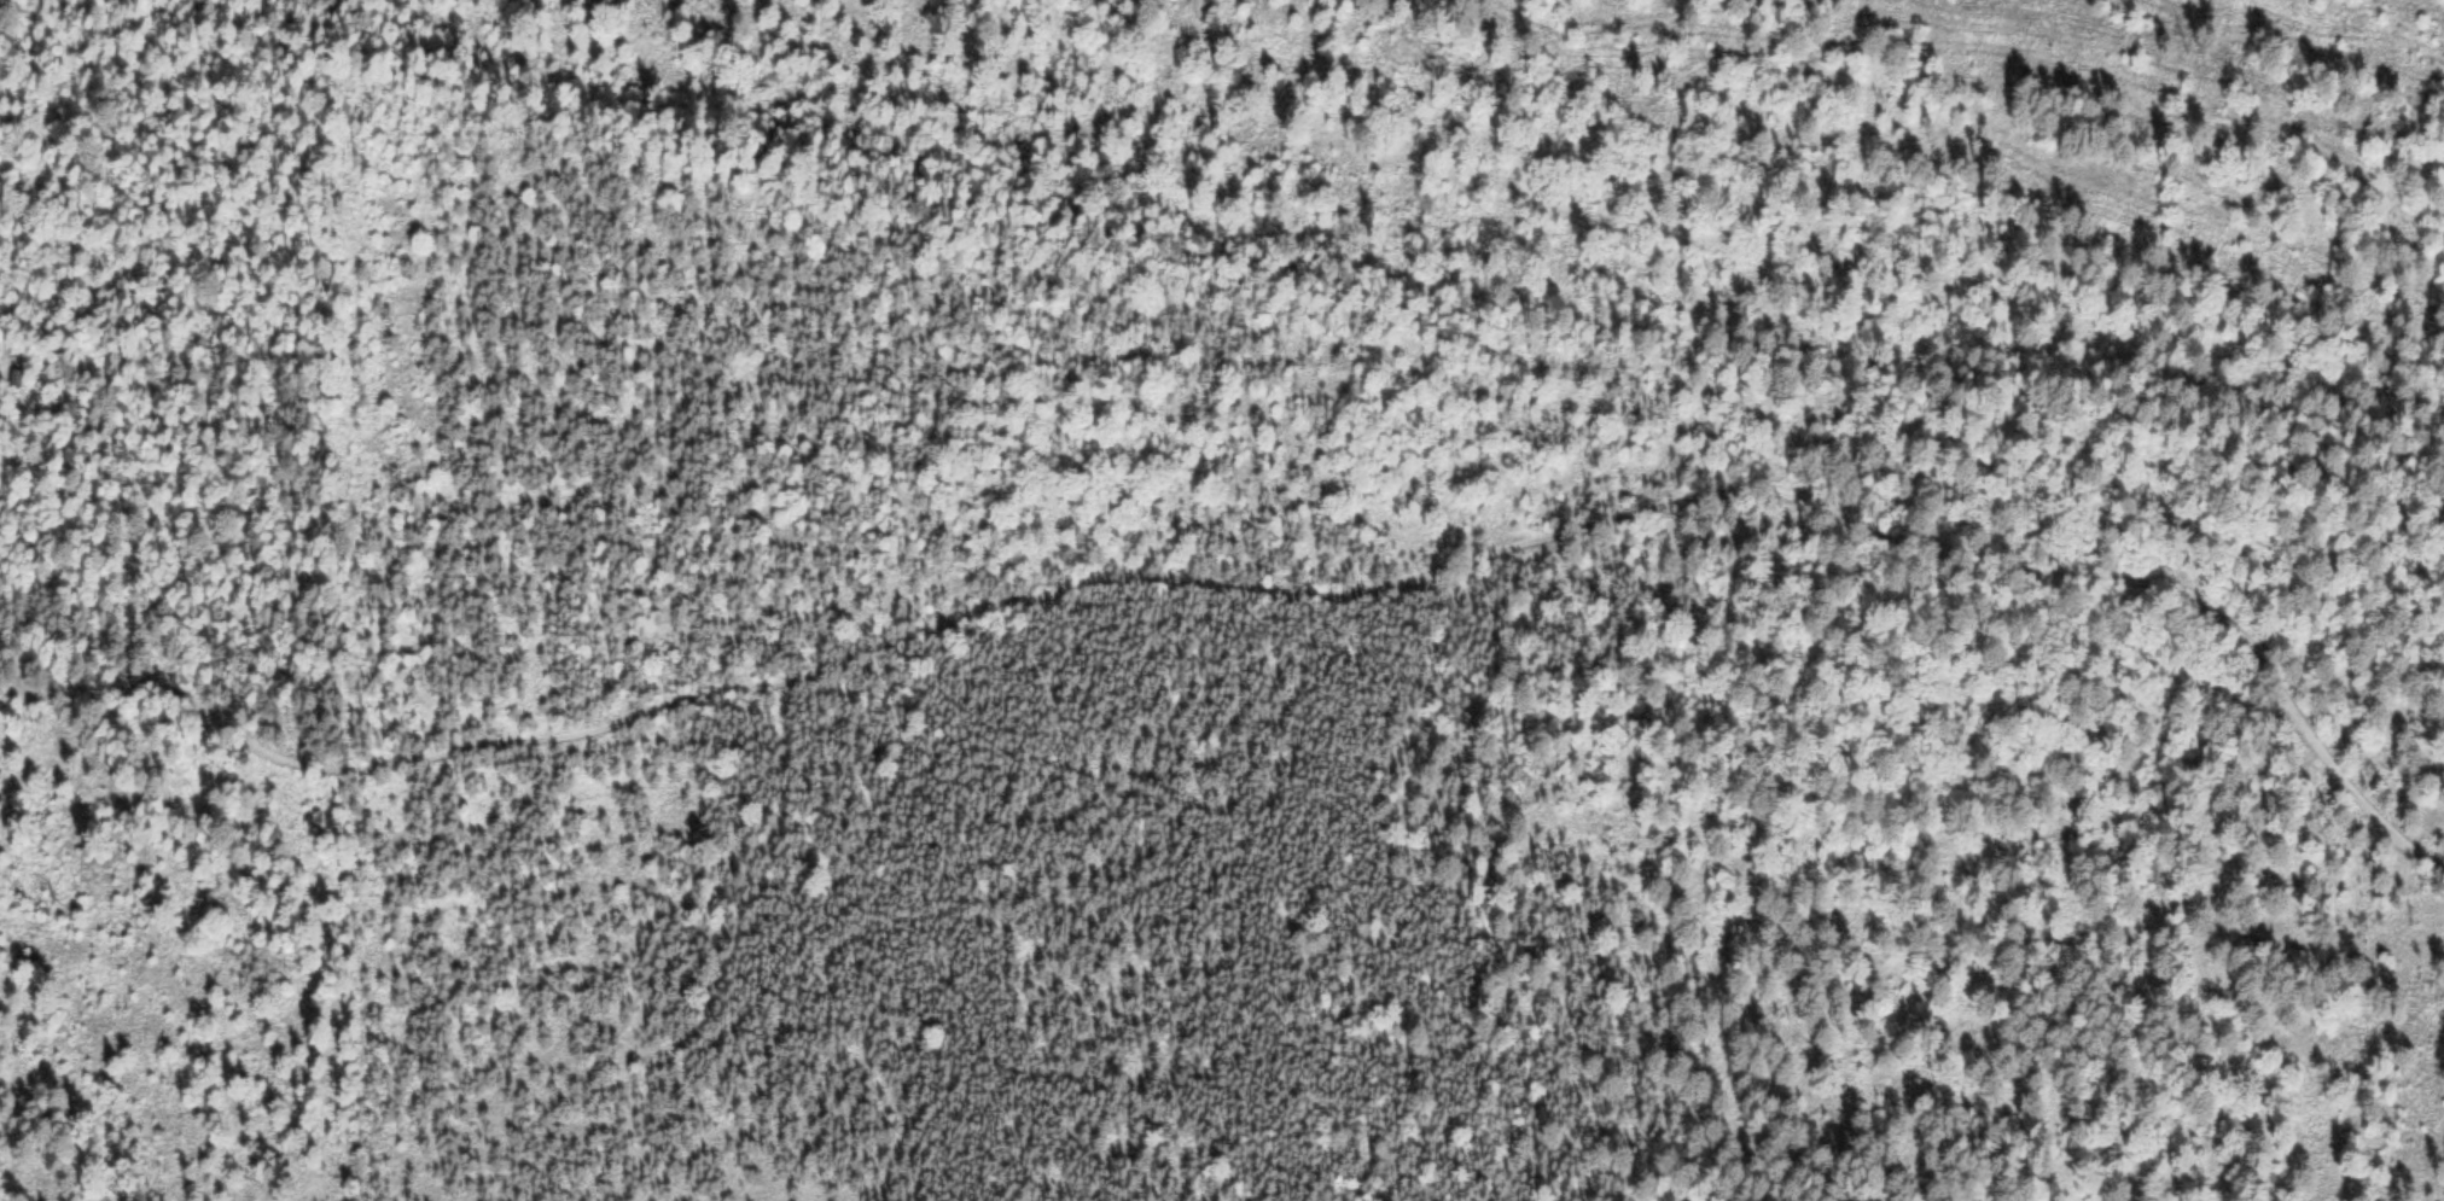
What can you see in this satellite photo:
building: (16, 380)
road: (2225, 610)
road: (944, 628)

